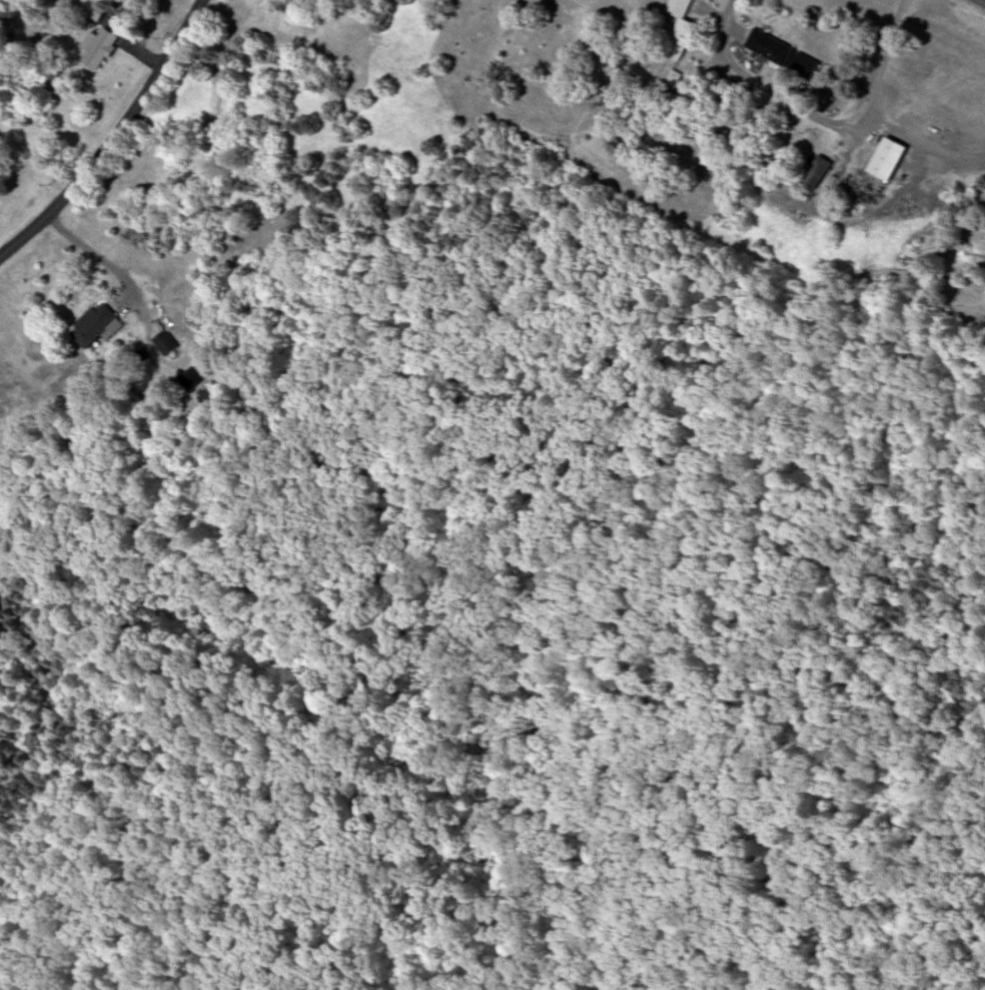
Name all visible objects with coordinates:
building: (681, 30)
building: (99, 37)
building: (770, 48)
building: (618, 65)
road: (115, 139)
building: (888, 159)
building: (817, 173)
building: (96, 326)
building: (164, 344)
building: (208, 398)
park: (492, 600)

